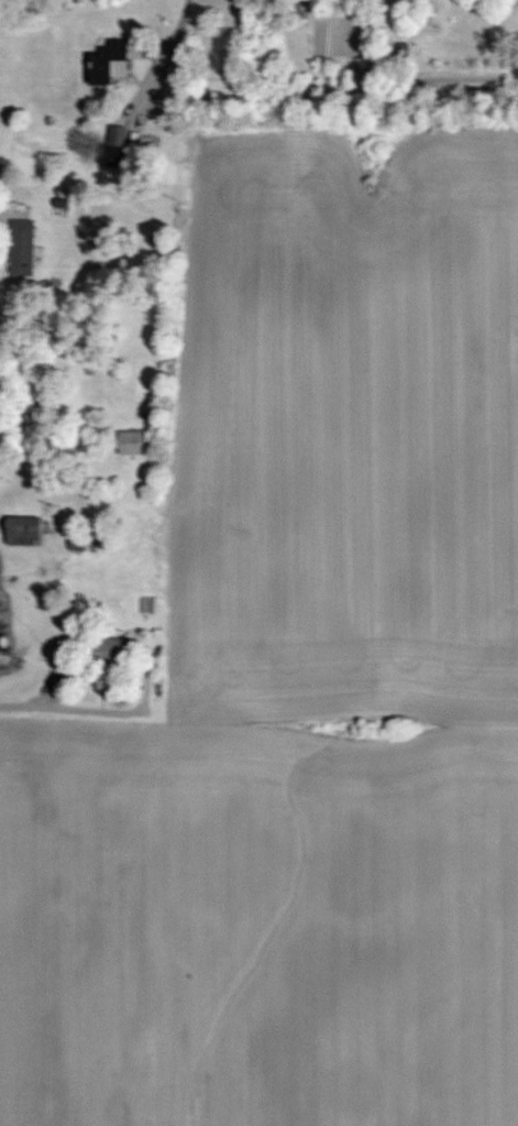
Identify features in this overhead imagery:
road: (176, 29)
building: (103, 62)
building: (111, 155)
building: (19, 248)
building: (126, 444)
building: (16, 535)
building: (109, 653)
road: (41, 695)

